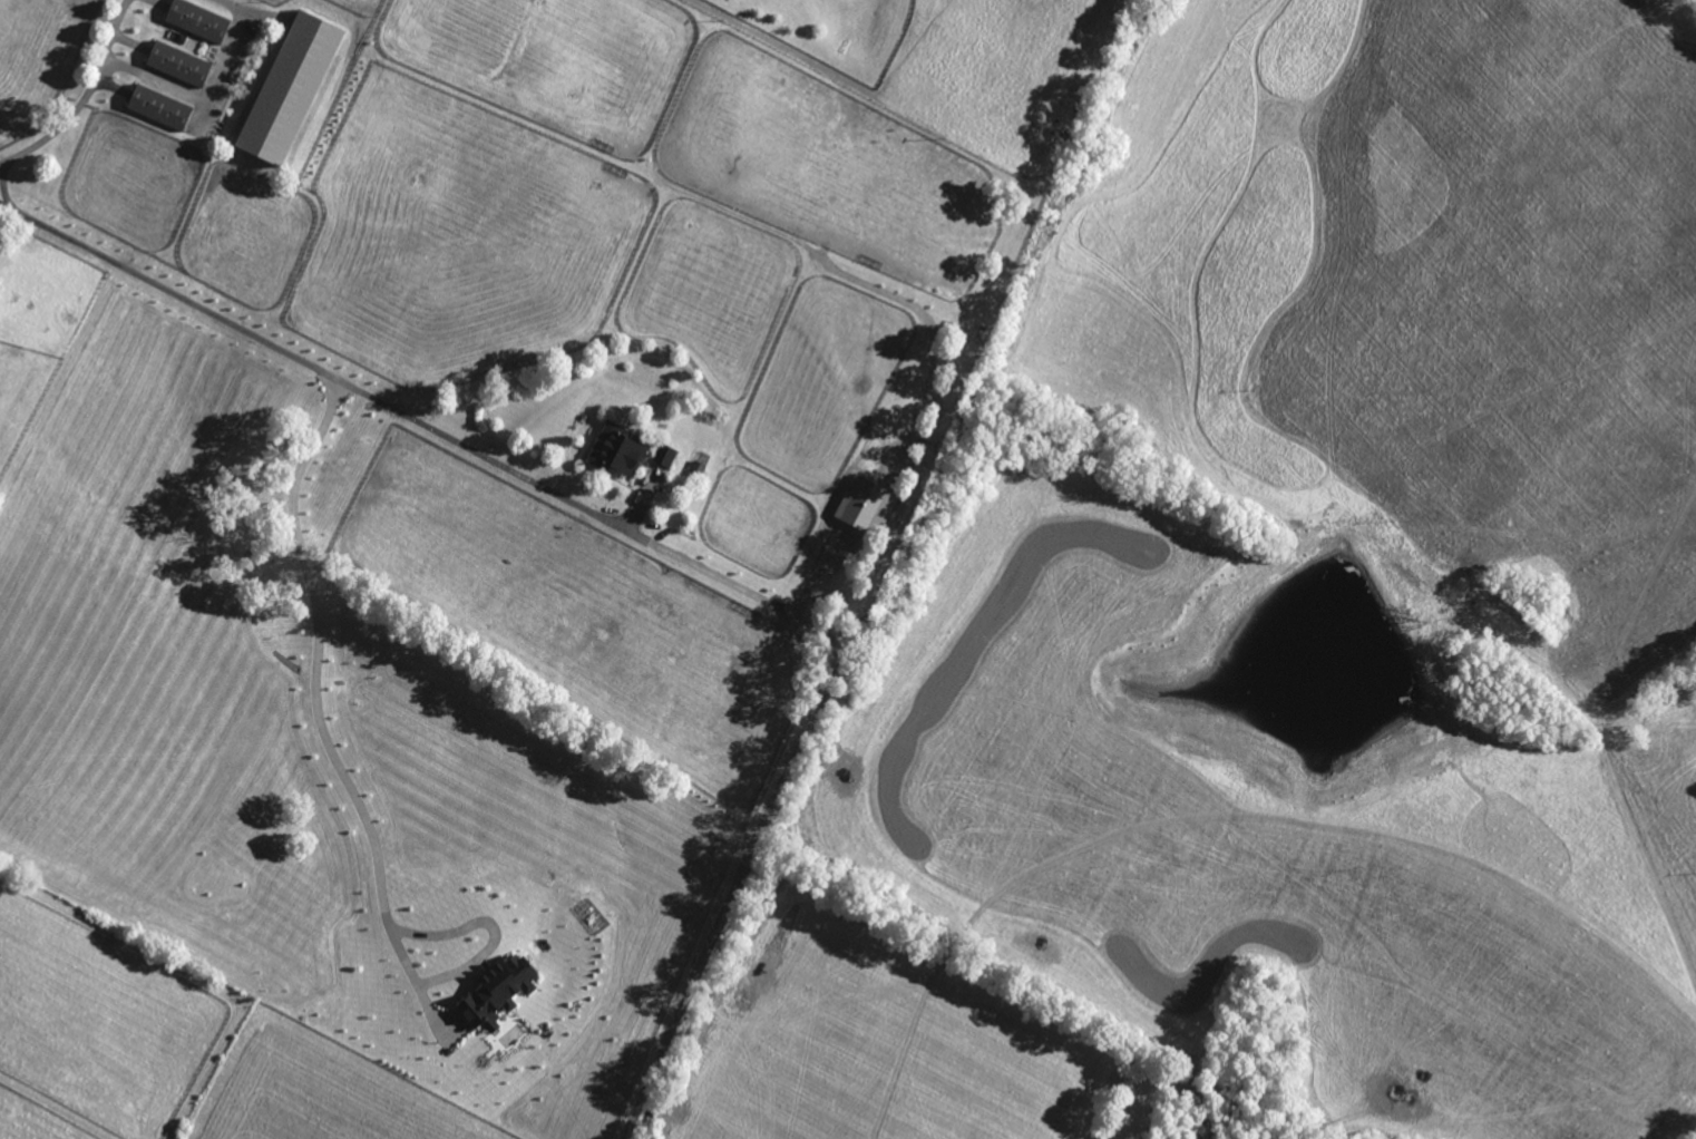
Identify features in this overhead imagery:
building: (202, 21)
building: (183, 65)
building: (294, 88)
road: (214, 96)
road: (87, 101)
building: (164, 108)
road: (394, 408)
building: (623, 450)
building: (671, 457)
building: (701, 469)
building: (870, 506)
road: (321, 709)
road: (489, 927)
building: (504, 993)

